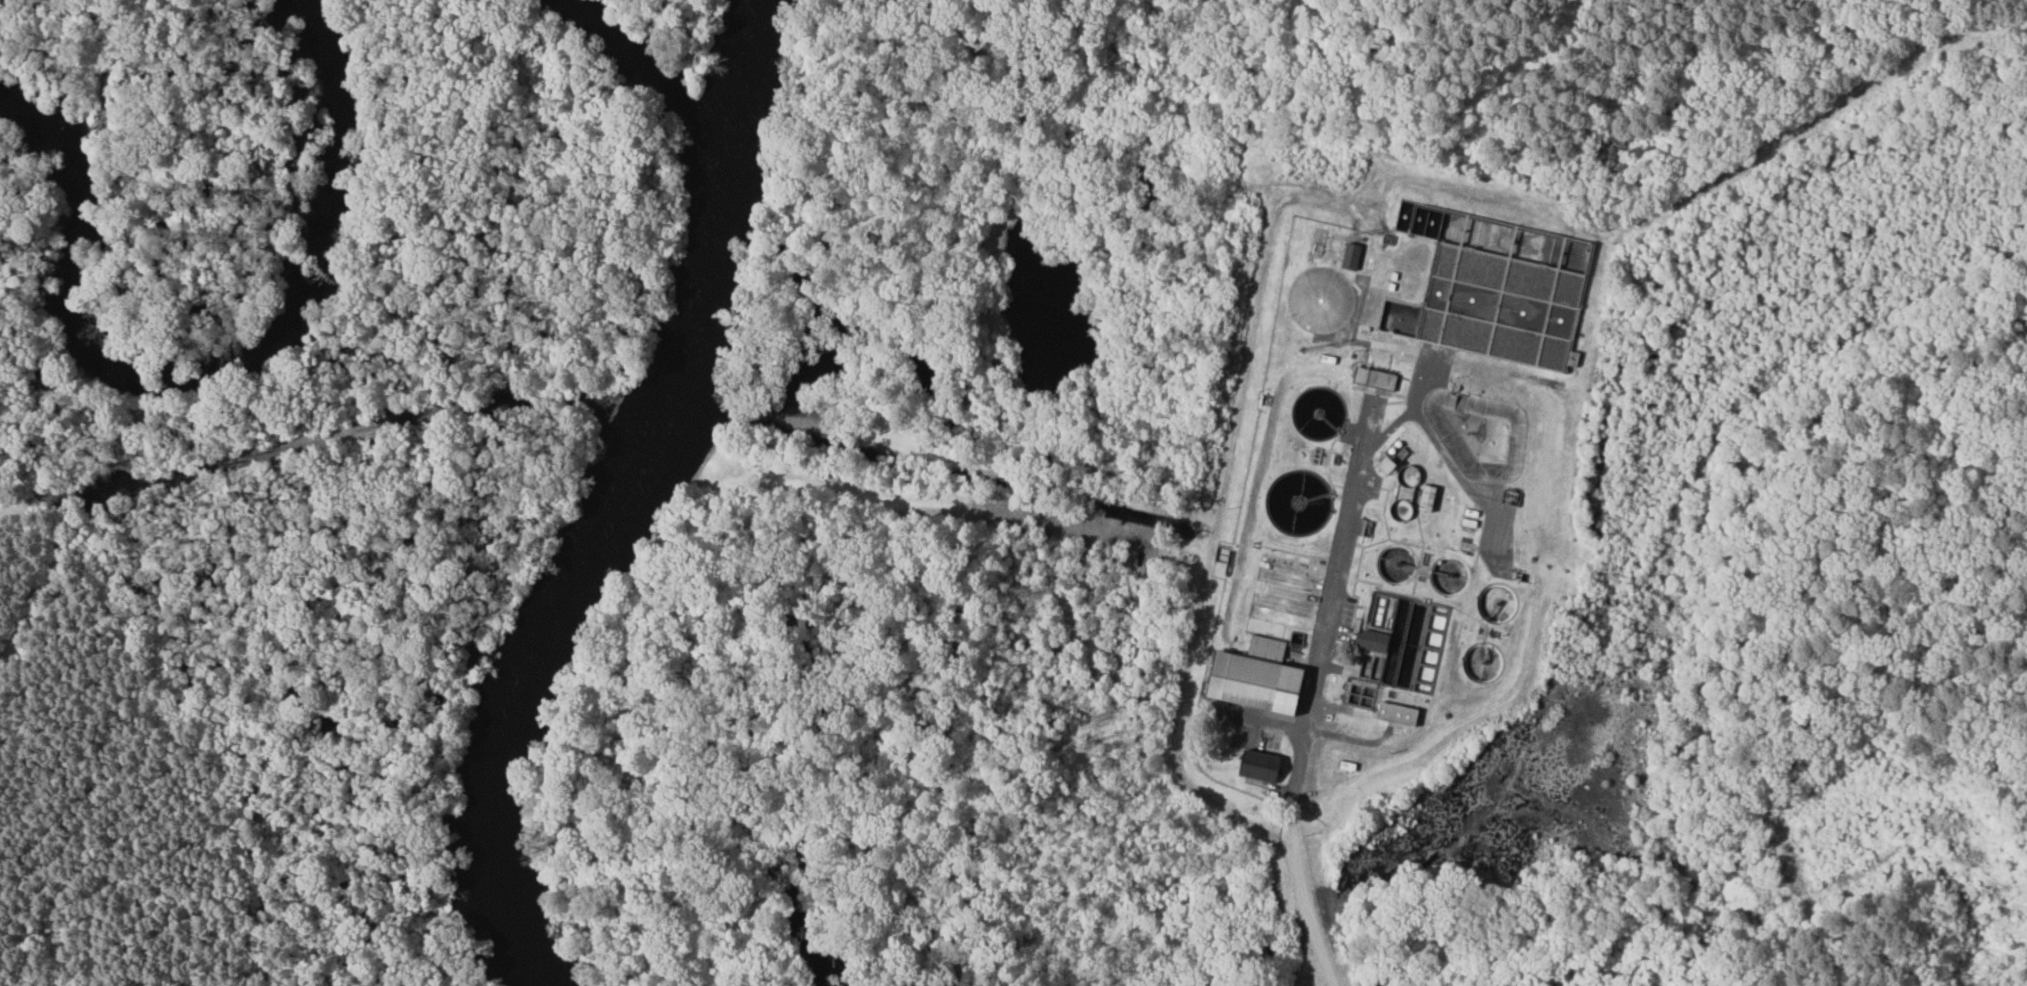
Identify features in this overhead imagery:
river: (741, 45)
building: (1349, 255)
road: (1255, 313)
building: (1371, 379)
building: (1382, 463)
wastewater plant: (1373, 488)
building: (1423, 497)
river: (576, 532)
road: (1343, 548)
building: (1370, 640)
building: (1251, 676)
building: (1393, 713)
building: (1253, 765)
road: (1314, 912)

